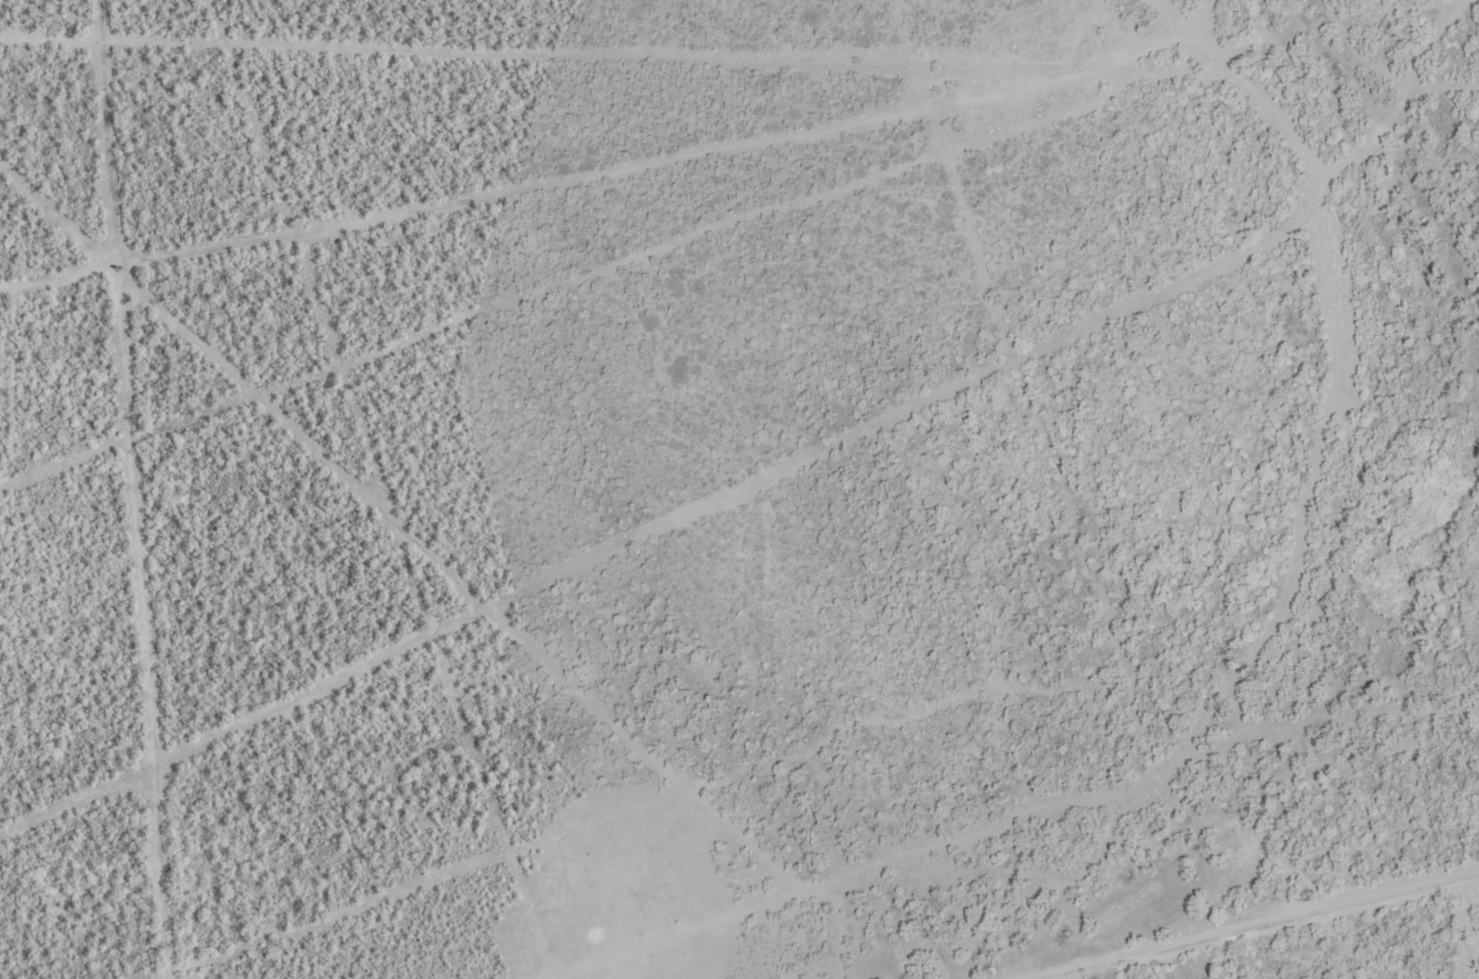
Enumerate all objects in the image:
road: (1244, 924)

